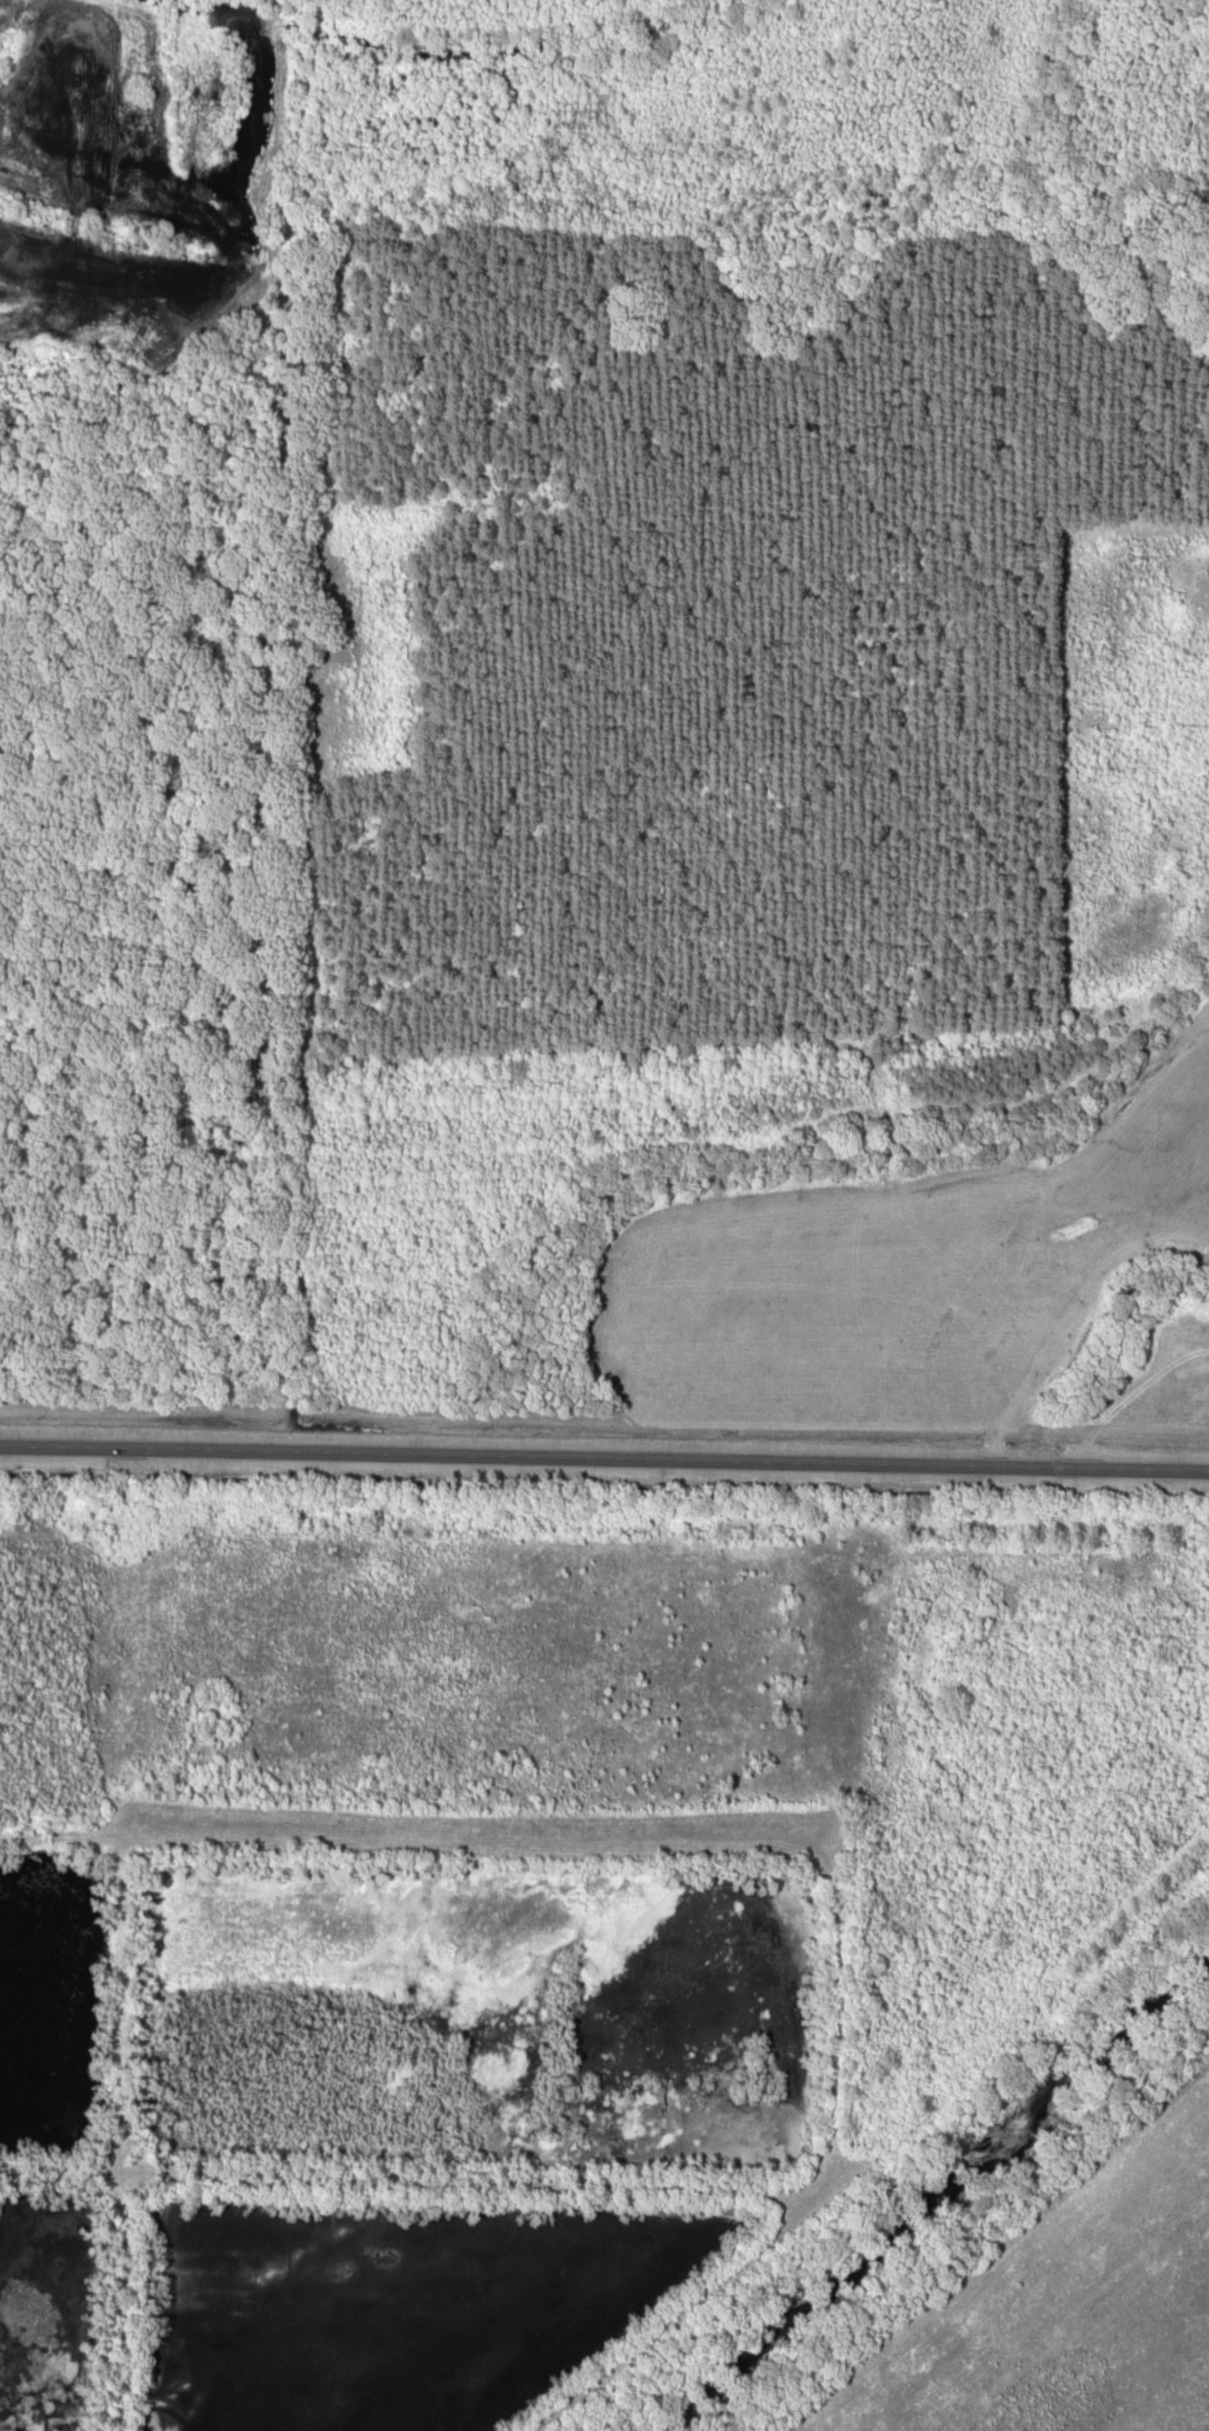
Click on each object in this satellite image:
road: (604, 1458)

